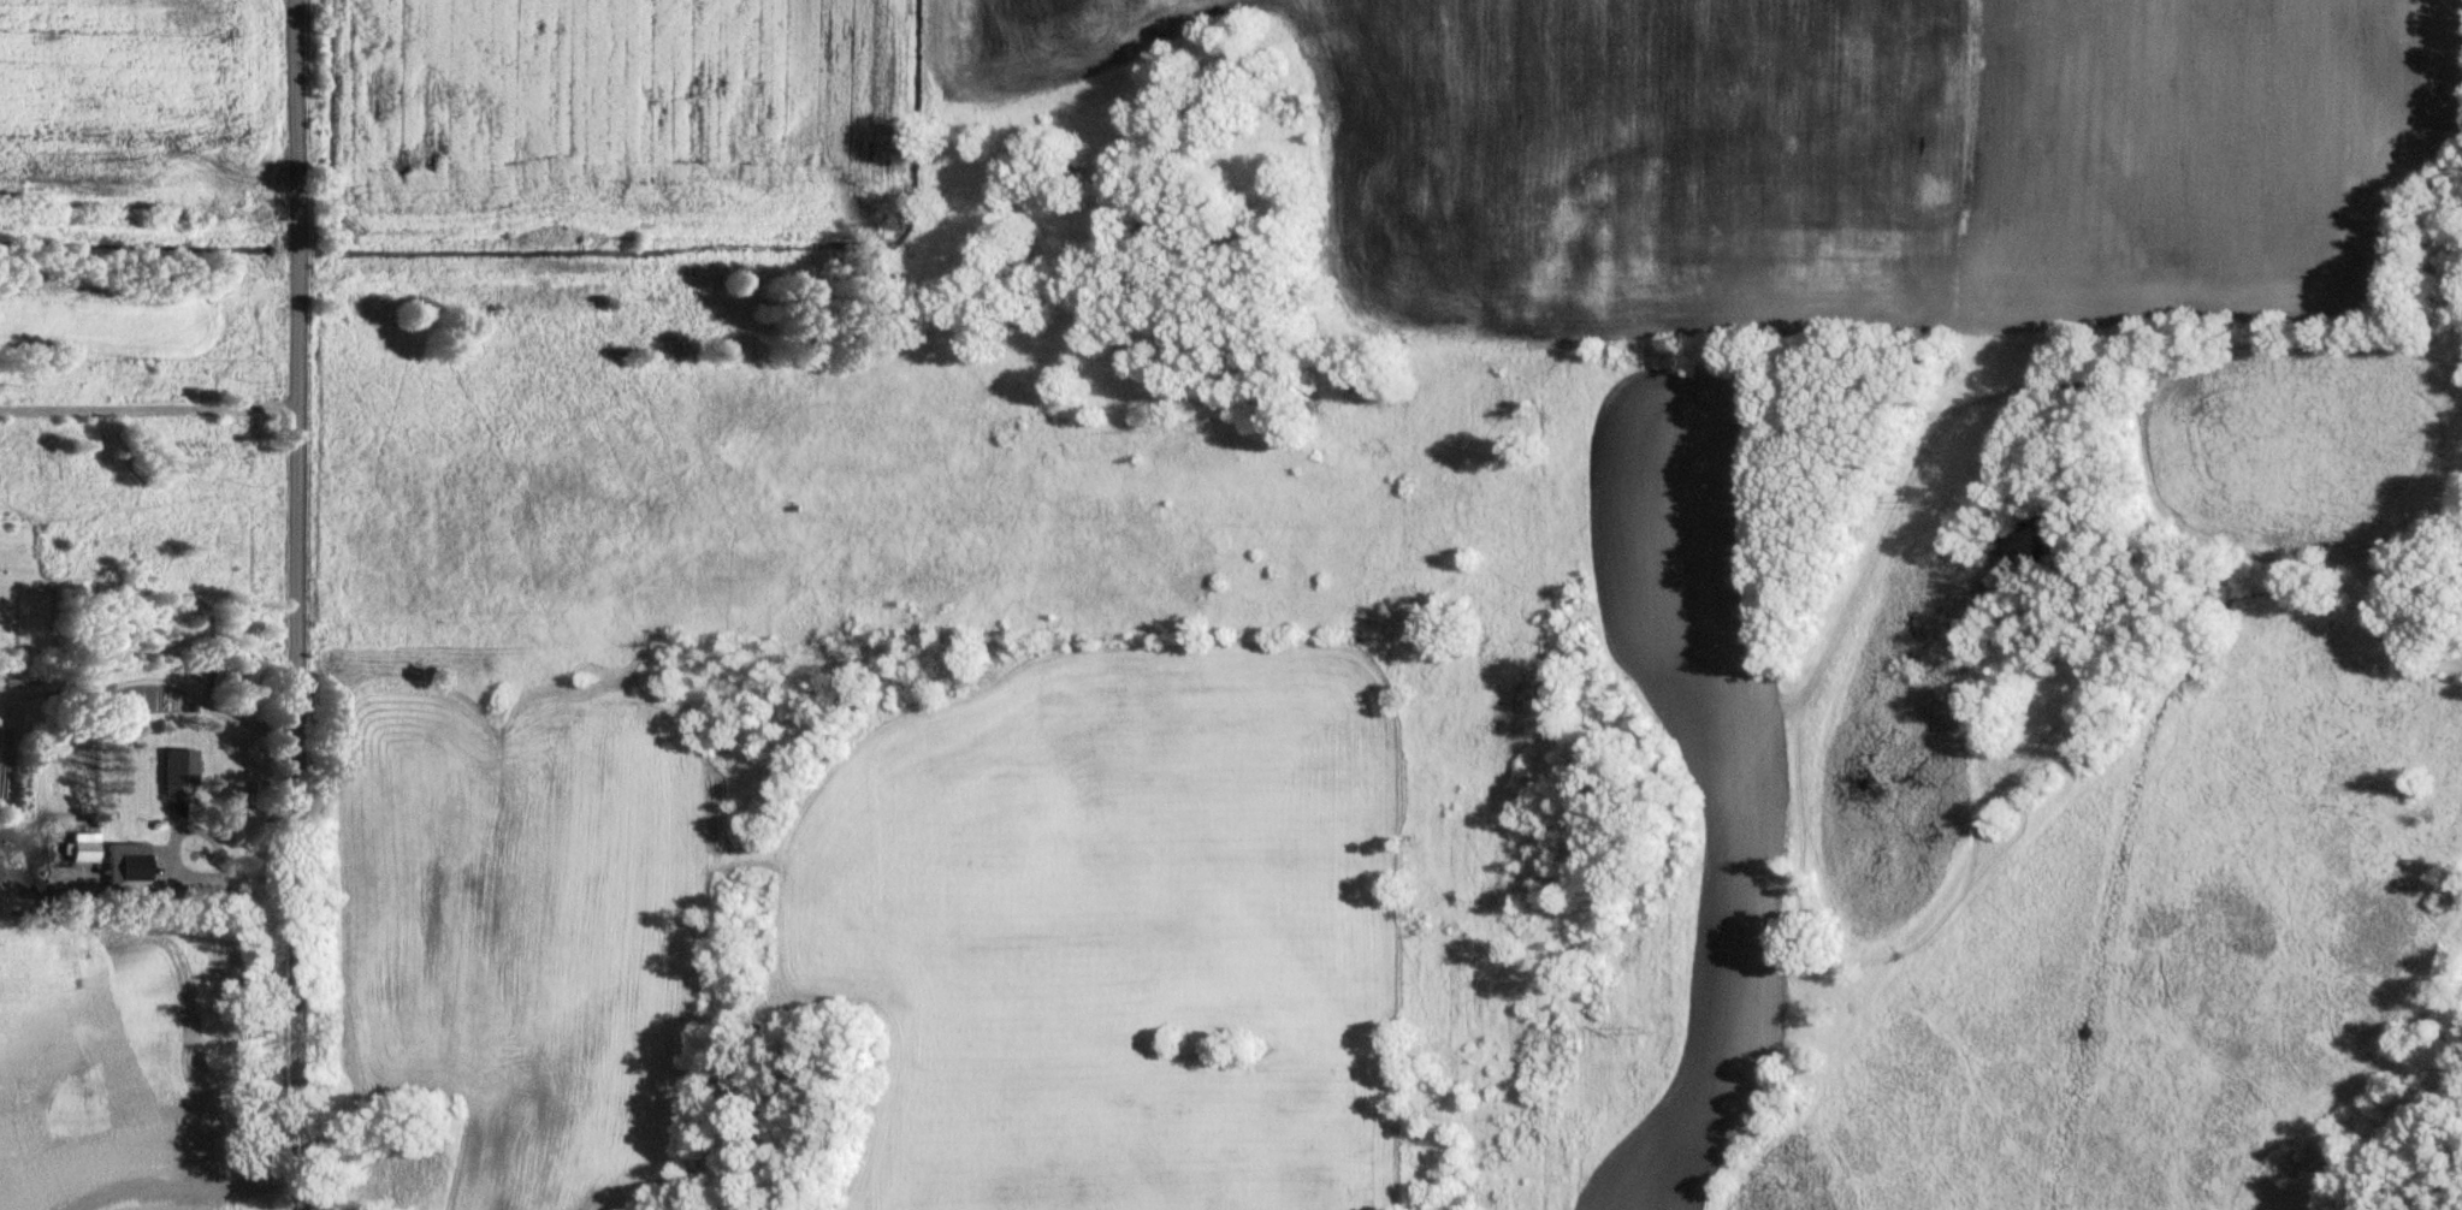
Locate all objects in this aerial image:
road: (149, 411)
power tower: (1927, 493)
road: (301, 605)
building: (173, 770)
building: (78, 847)
building: (123, 866)
road: (182, 874)
power tower: (1650, 1025)
road: (193, 1188)

